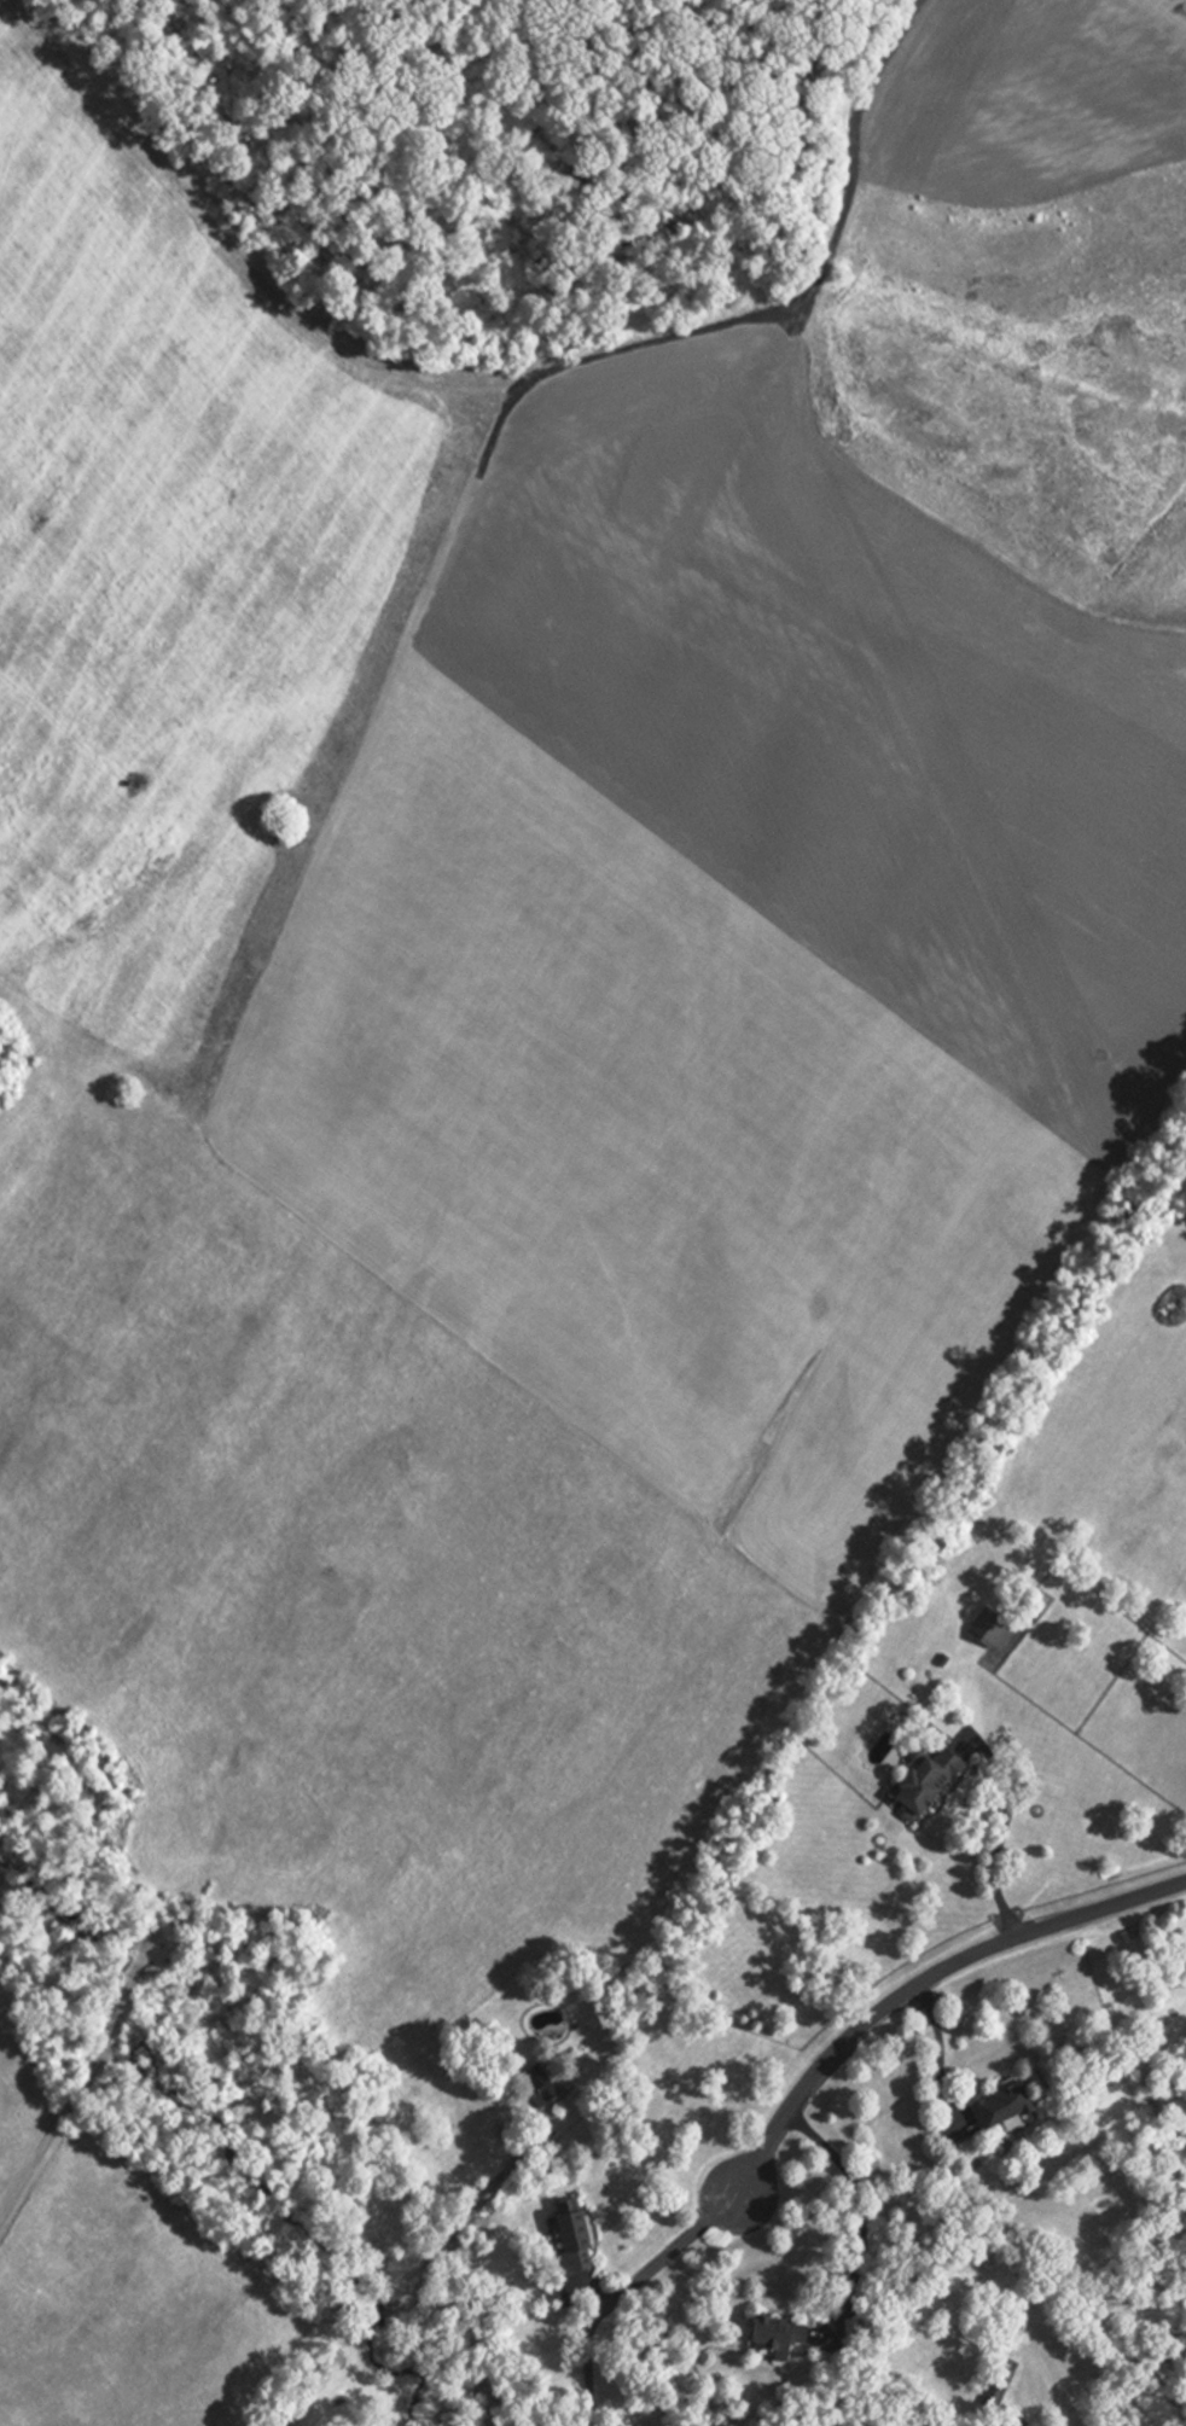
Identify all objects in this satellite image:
road: (871, 156)
crop: (569, 828)
crop: (348, 1575)
building: (990, 1628)
building: (942, 1658)
building: (924, 1781)
road: (1002, 1827)
road: (147, 1938)
road: (133, 1979)
road: (923, 1983)
road: (940, 2053)
building: (542, 2084)
building: (1004, 2105)
road: (65, 2107)
crop: (21, 2112)
road: (860, 2215)
building: (571, 2235)
road: (458, 2259)
road: (624, 2290)
road: (591, 2293)
crop: (127, 2299)
building: (778, 2333)
building: (998, 2380)
building: (1016, 2421)
building: (280, 2425)

